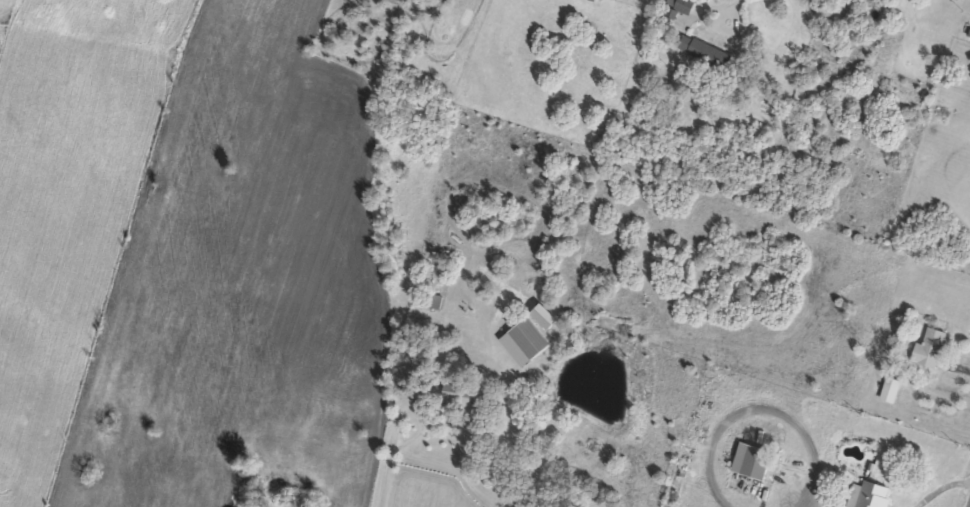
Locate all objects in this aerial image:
building: (603, 1)
building: (680, 9)
road: (728, 10)
building: (709, 56)
building: (550, 319)
building: (533, 340)
building: (934, 349)
building: (894, 390)
building: (448, 395)
road: (415, 411)
road: (476, 440)
building: (756, 461)
road: (383, 479)
building: (873, 495)

